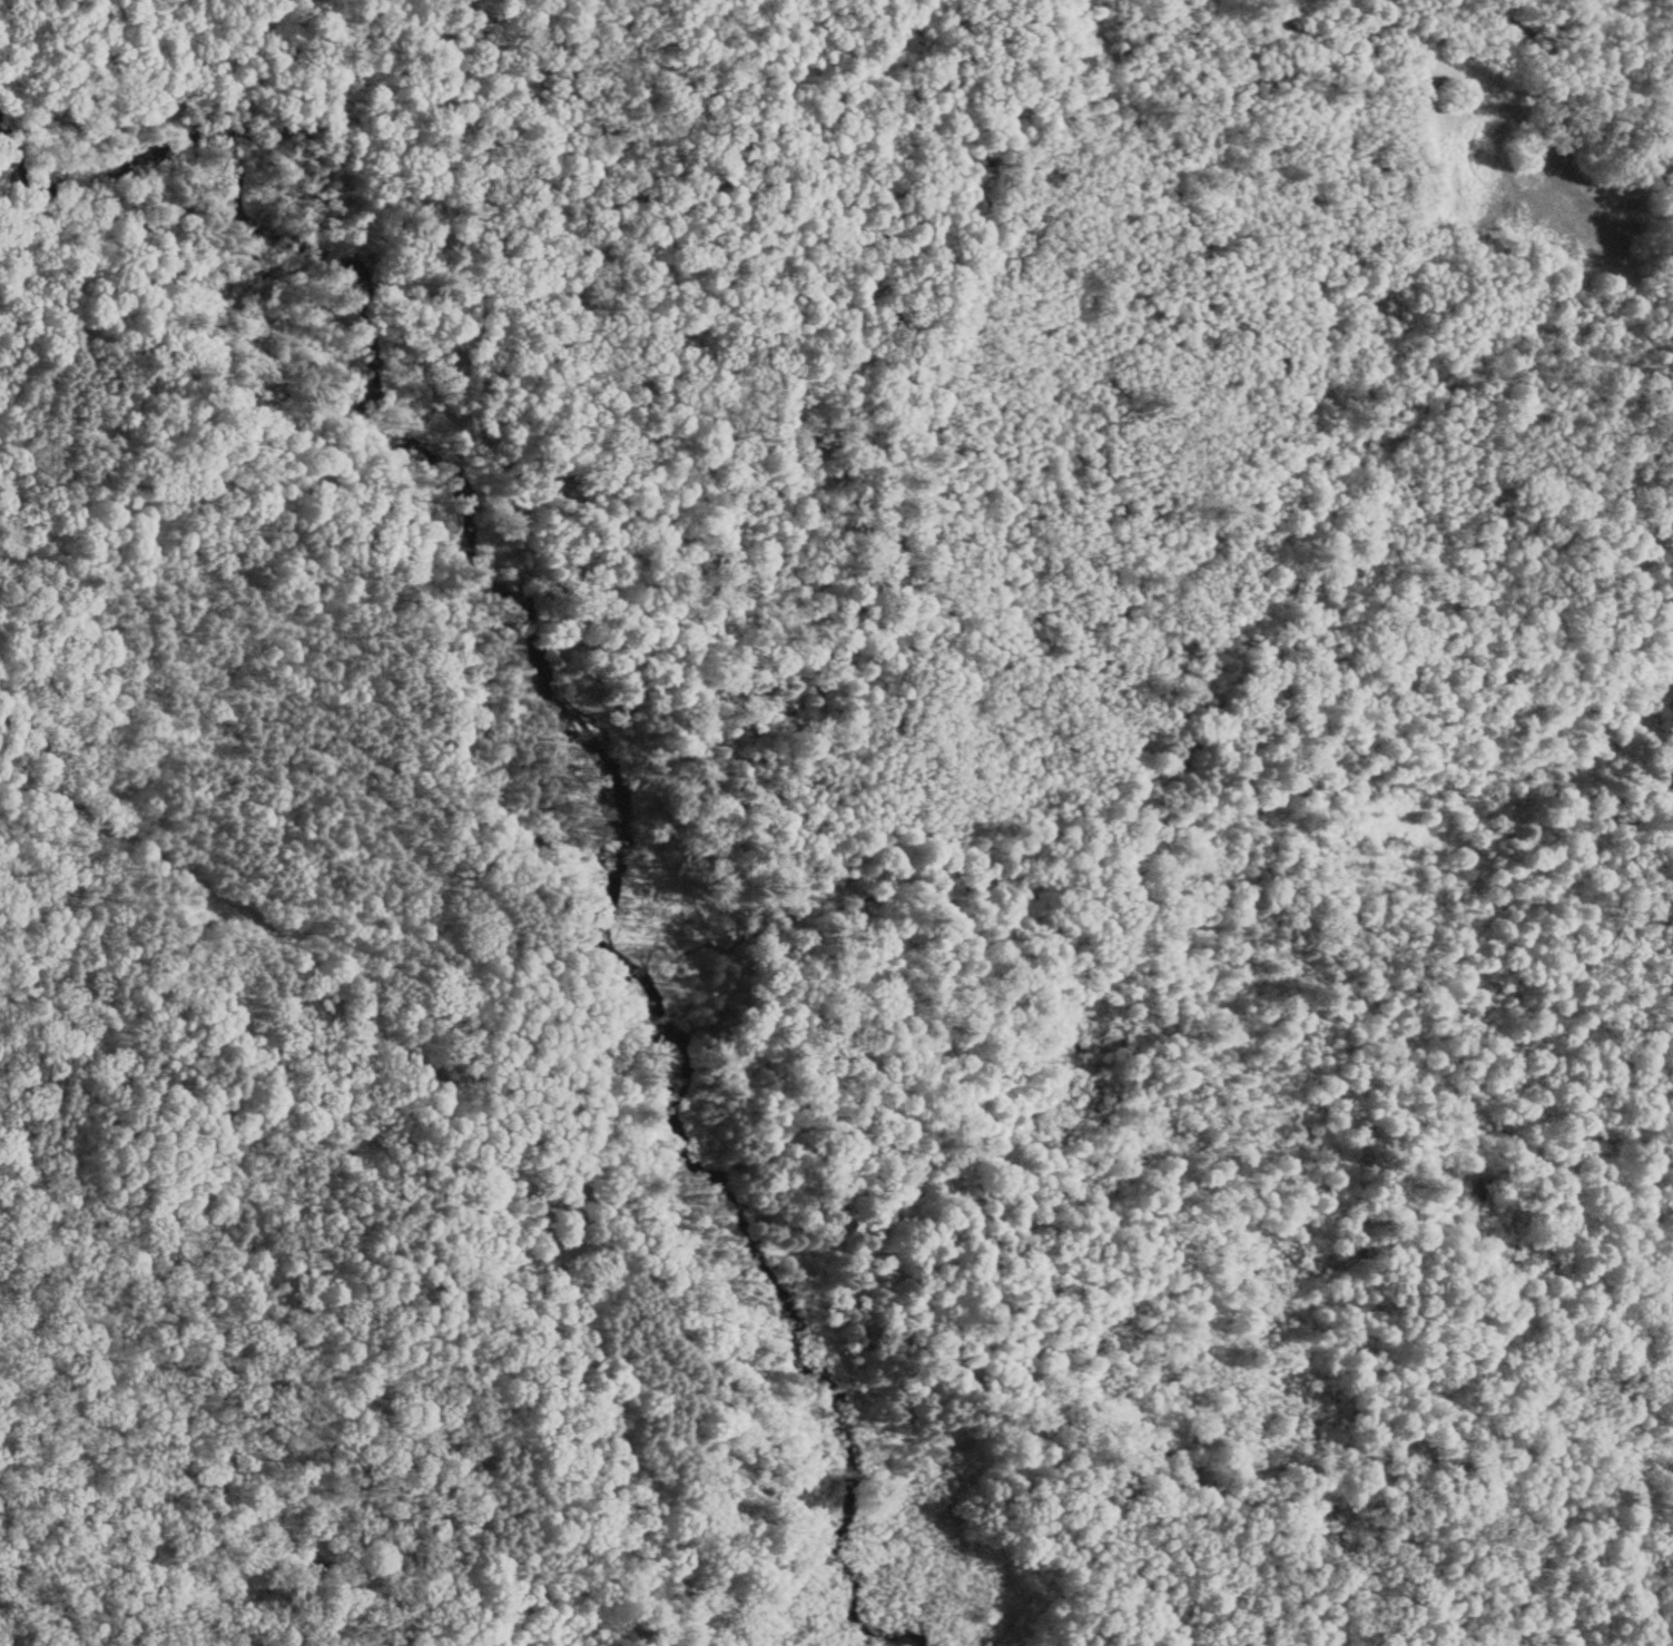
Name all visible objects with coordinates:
road: (479, 1102)
road: (66, 1568)

